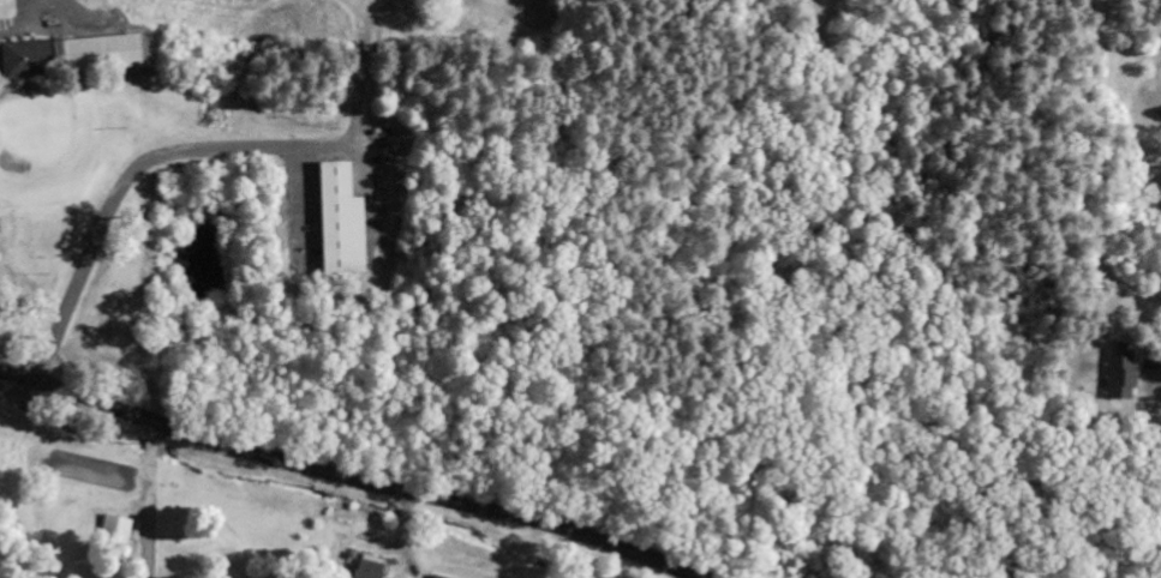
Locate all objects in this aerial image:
building: (104, 53)
building: (31, 59)
building: (341, 221)
building: (1117, 374)
road: (527, 436)
road: (195, 440)
road: (353, 477)
road: (388, 492)
building: (119, 529)
building: (371, 567)

